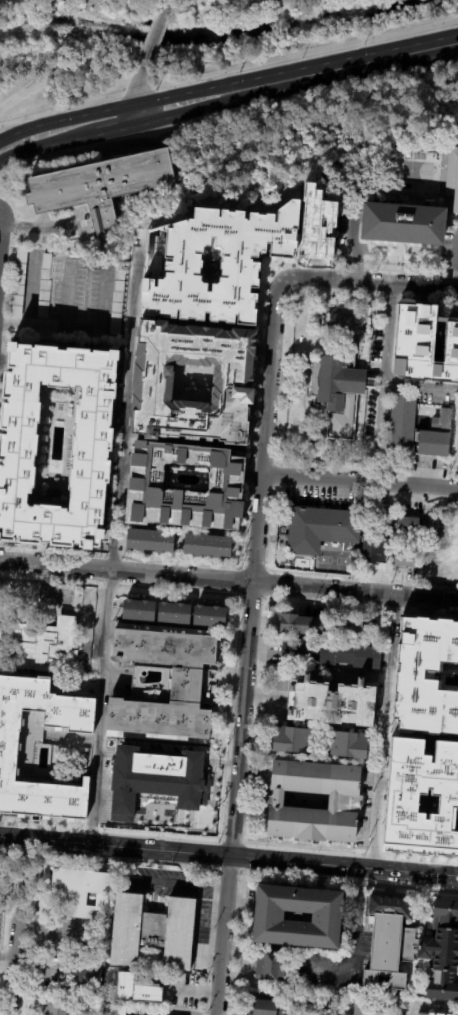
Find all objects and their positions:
road: (12, 1)
road: (158, 25)
park: (160, 37)
road: (356, 60)
road: (221, 72)
road: (137, 87)
road: (126, 106)
road: (128, 126)
park: (410, 170)
building: (411, 171)
building: (452, 175)
building: (99, 184)
building: (316, 215)
building: (405, 219)
road: (42, 220)
road: (48, 226)
road: (455, 258)
building: (221, 262)
road: (336, 280)
road: (424, 287)
building: (117, 302)
road: (79, 331)
building: (424, 343)
road: (268, 378)
building: (155, 382)
road: (381, 384)
road: (420, 385)
building: (341, 390)
building: (404, 424)
building: (438, 437)
building: (96, 448)
building: (457, 448)
road: (316, 480)
building: (148, 487)
road: (414, 488)
road: (456, 491)
building: (409, 526)
building: (437, 528)
road: (255, 529)
building: (318, 530)
road: (114, 538)
building: (379, 540)
building: (152, 541)
building: (209, 546)
building: (455, 550)
building: (407, 557)
building: (435, 560)
road: (56, 566)
road: (181, 577)
road: (321, 589)
road: (418, 597)
road: (451, 600)
building: (140, 611)
building: (176, 614)
building: (211, 617)
building: (300, 622)
building: (348, 625)
building: (45, 646)
building: (330, 651)
road: (243, 670)
building: (185, 680)
building: (429, 690)
building: (331, 700)
road: (381, 733)
building: (289, 738)
building: (348, 742)
road: (165, 751)
building: (8, 752)
building: (408, 773)
building: (138, 792)
building: (347, 804)
building: (454, 807)
road: (230, 808)
building: (442, 823)
building: (457, 823)
building: (418, 831)
building: (440, 839)
road: (228, 859)
building: (79, 889)
road: (223, 901)
building: (268, 915)
road: (17, 927)
road: (54, 928)
building: (151, 930)
building: (411, 946)
building: (270, 964)
road: (331, 965)
building: (80, 975)
road: (217, 979)
building: (168, 987)
building: (118, 990)
building: (401, 1003)
building: (56, 1006)
building: (263, 1006)
building: (115, 1009)
building: (435, 1013)
building: (87, 1014)

